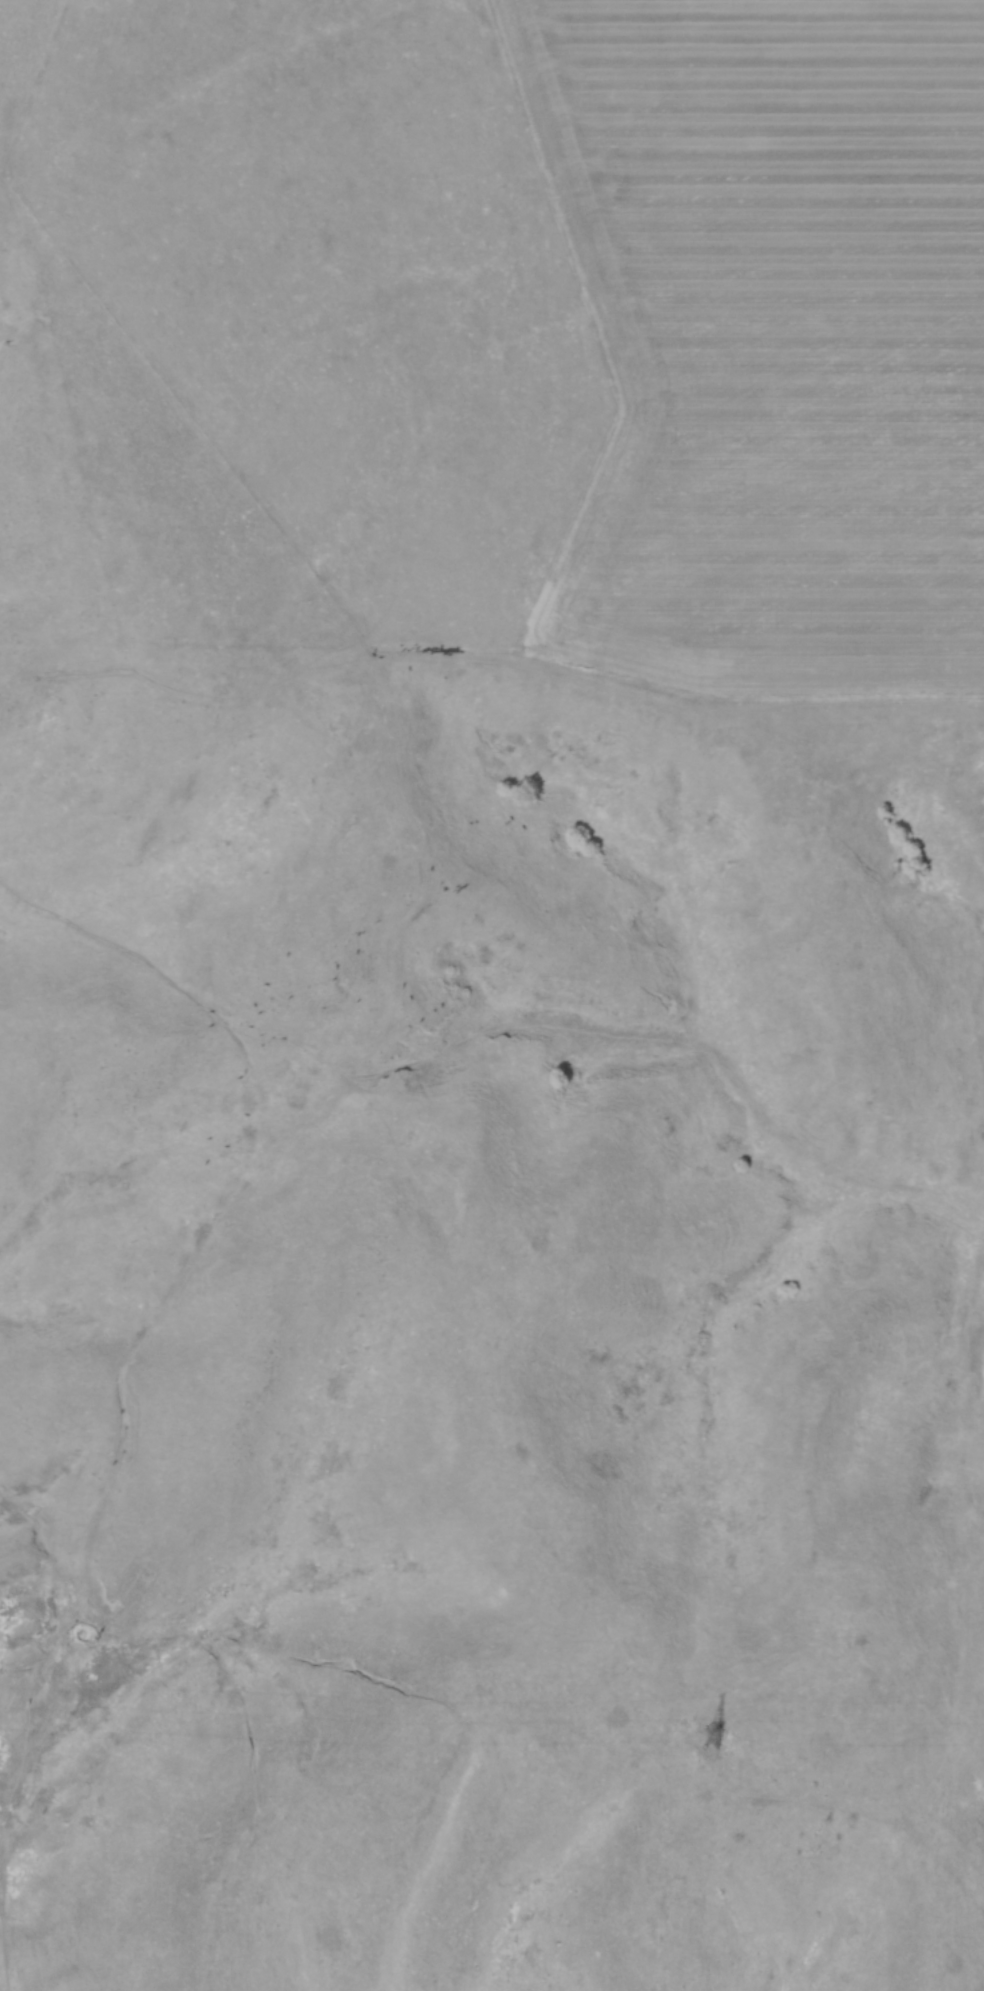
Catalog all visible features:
power tower: (715, 1734)

